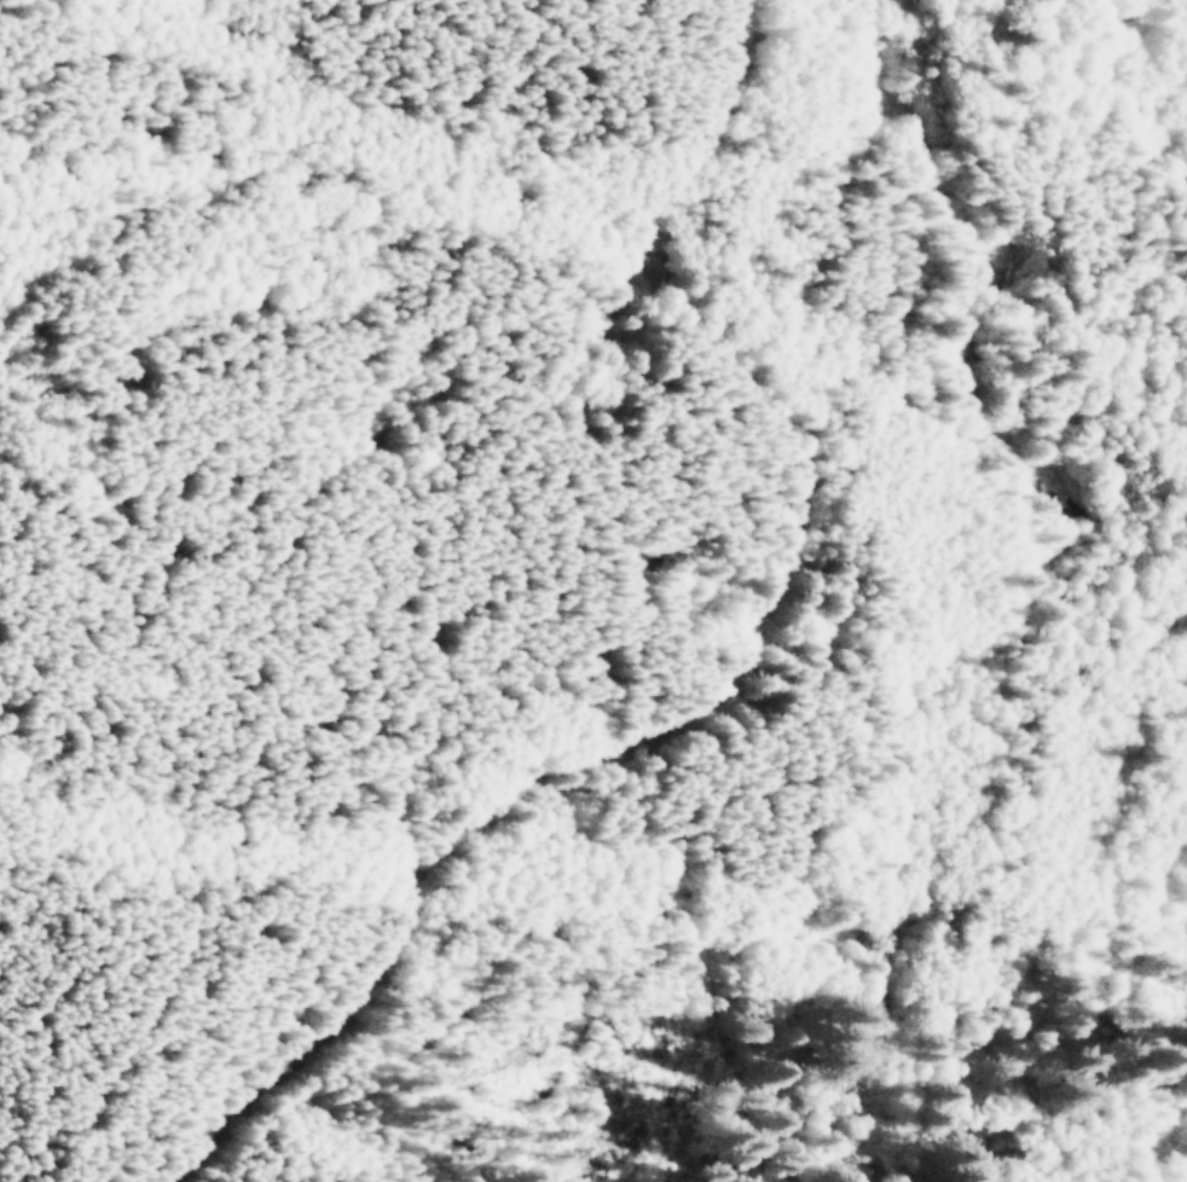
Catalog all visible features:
road: (782, 671)

